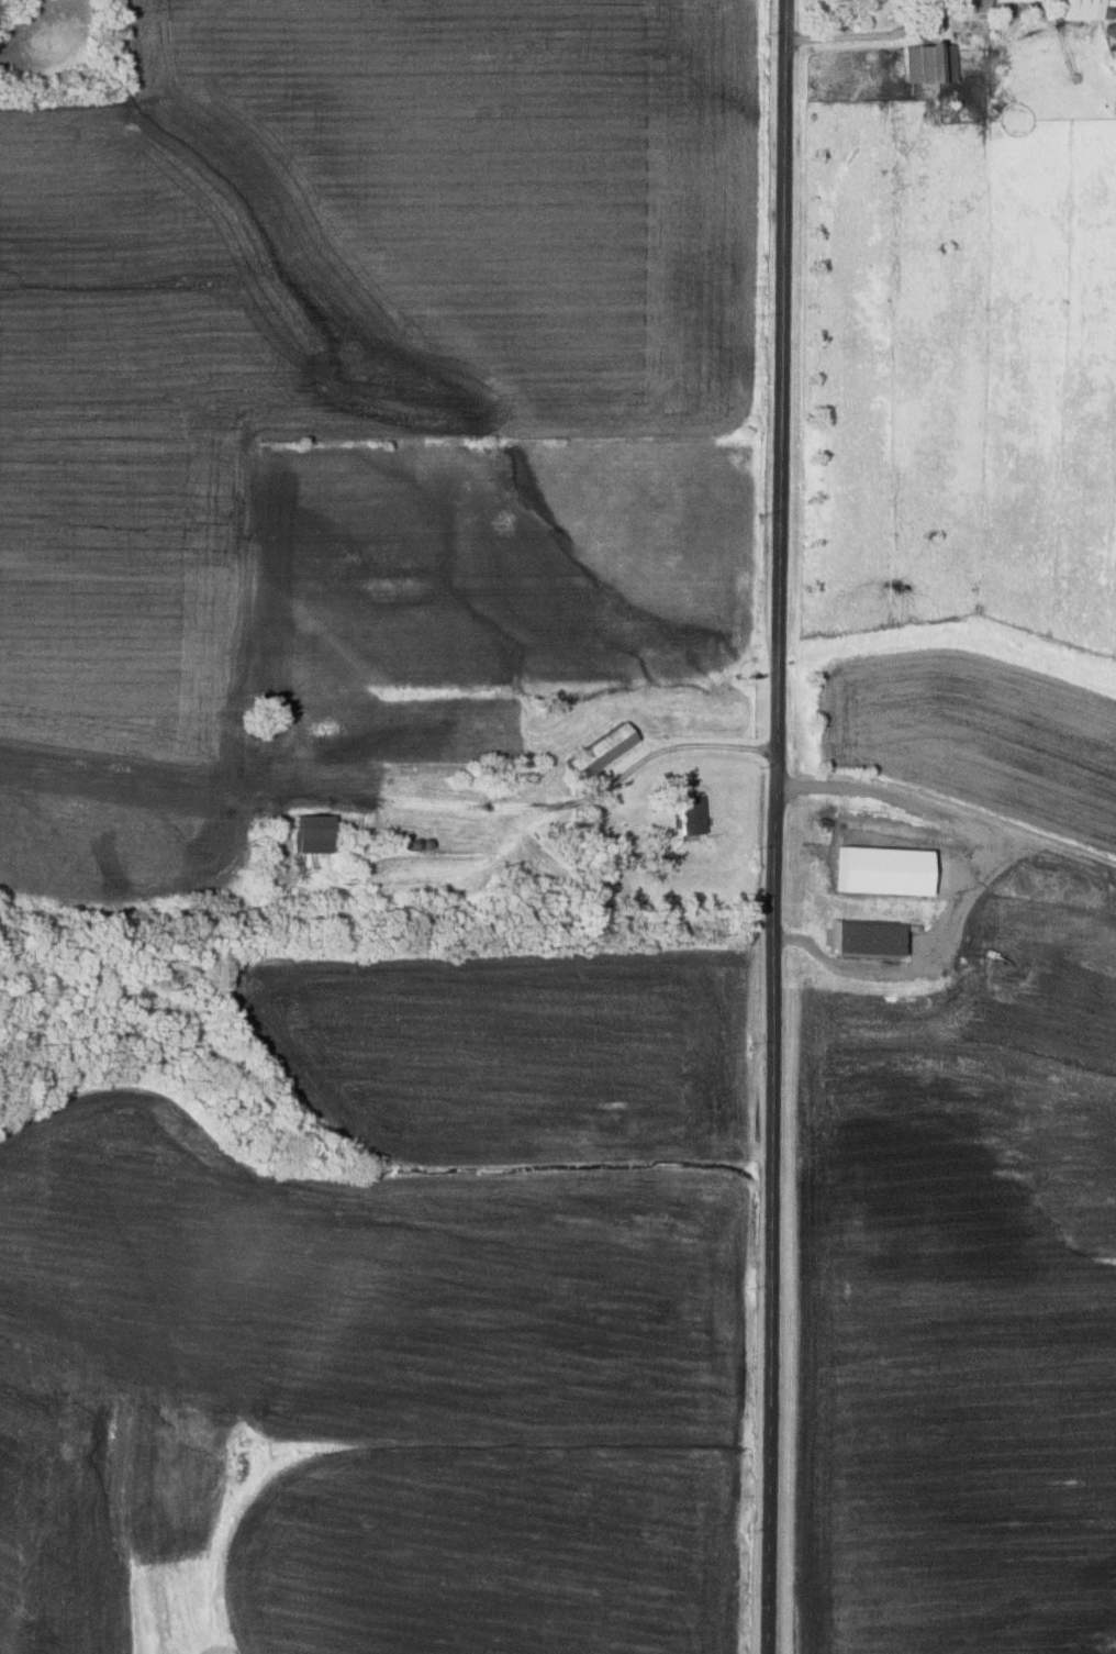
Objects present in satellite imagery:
building: (973, 7)
building: (1086, 9)
road: (869, 36)
building: (930, 62)
road: (684, 746)
building: (602, 748)
building: (692, 813)
road: (779, 826)
building: (314, 832)
road: (1027, 845)
road: (953, 887)
building: (873, 937)

